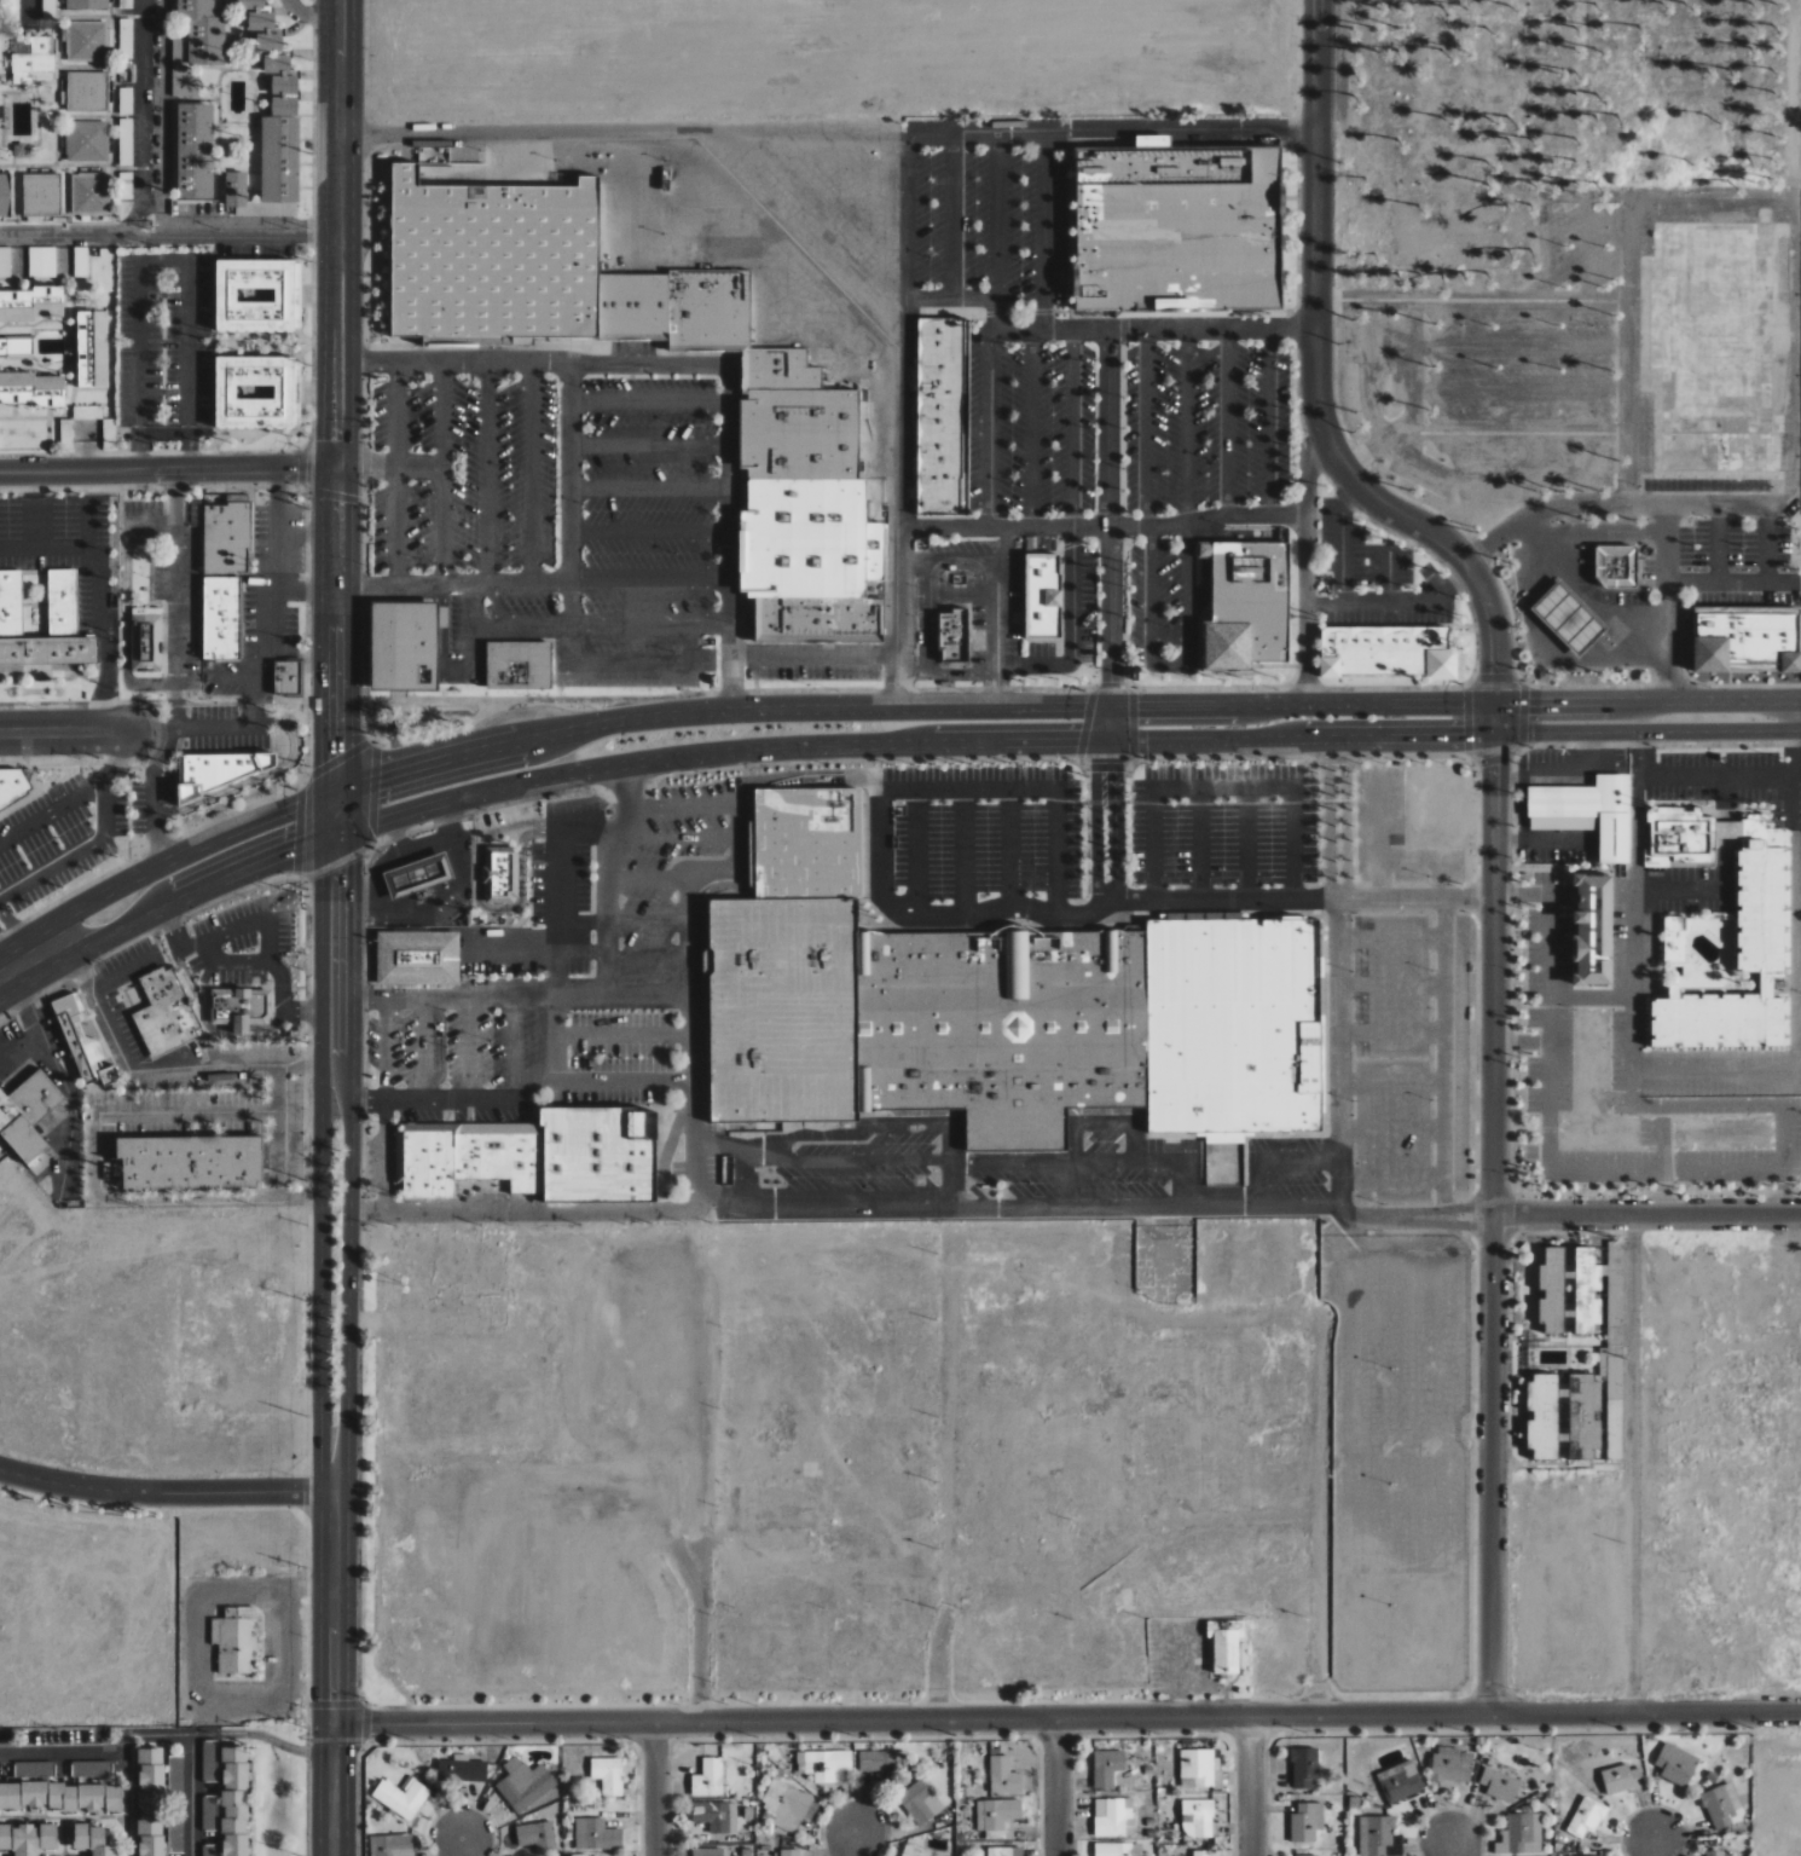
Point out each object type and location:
building: (126, 4)
building: (87, 5)
road: (25, 8)
building: (48, 13)
road: (311, 16)
building: (202, 31)
building: (265, 36)
building: (126, 37)
building: (86, 41)
building: (34, 62)
building: (184, 82)
building: (86, 91)
building: (282, 96)
road: (139, 116)
road: (1181, 131)
road: (621, 134)
road: (968, 134)
building: (87, 140)
building: (193, 150)
building: (268, 173)
building: (124, 185)
building: (89, 192)
building: (41, 193)
building: (4, 196)
building: (1175, 229)
road: (170, 232)
road: (341, 236)
building: (493, 250)
road: (163, 259)
building: (41, 261)
building: (81, 261)
building: (5, 262)
building: (256, 295)
building: (30, 303)
parking lot: (1007, 319)
road: (1212, 328)
road: (1076, 329)
building: (16, 346)
building: (91, 348)
road: (638, 362)
road: (1315, 376)
building: (30, 388)
building: (254, 392)
building: (88, 412)
building: (938, 416)
road: (163, 434)
parking lot: (1198, 455)
road: (167, 470)
road: (568, 472)
road: (441, 476)
road: (1612, 504)
parking lot: (560, 505)
road: (1108, 518)
road: (1206, 519)
road: (944, 527)
road: (349, 528)
building: (226, 536)
road: (1592, 538)
road: (15, 550)
building: (1615, 566)
road: (97, 569)
road: (1304, 569)
road: (585, 580)
road: (396, 586)
road: (296, 589)
building: (1041, 596)
road: (173, 600)
building: (11, 603)
road: (1669, 603)
building: (1244, 605)
road: (322, 615)
road: (995, 615)
road: (626, 625)
road: (498, 628)
building: (952, 635)
road: (1073, 635)
building: (145, 638)
road: (729, 644)
building: (401, 646)
building: (1382, 652)
road: (815, 654)
road: (253, 661)
building: (1789, 663)
building: (516, 665)
road: (1175, 665)
road: (351, 666)
traffic signals: (1495, 676)
building: (286, 678)
traffic signals: (1112, 687)
road: (1663, 705)
road: (1124, 706)
traffic signals: (1139, 706)
road: (1301, 706)
road: (908, 707)
road: (1098, 707)
road: (1495, 707)
traffic signals: (1527, 707)
road: (633, 717)
road: (1494, 719)
road: (1110, 725)
road: (63, 732)
road: (1662, 732)
road: (1494, 733)
traffic signals: (1465, 735)
road: (1302, 739)
road: (442, 741)
road: (1123, 742)
road: (1093, 744)
traffic signals: (1078, 745)
road: (1334, 748)
road: (724, 753)
road: (115, 754)
traffic signals: (380, 756)
road: (457, 757)
traffic signals: (322, 763)
traffic signals: (1494, 763)
traffic signals: (1114, 773)
road: (1715, 773)
traffic signals: (378, 780)
building: (16, 787)
road: (352, 787)
road: (338, 792)
road: (74, 798)
road: (1096, 811)
road: (1114, 813)
building: (1586, 813)
road: (879, 816)
road: (322, 822)
road: (365, 826)
road: (550, 828)
road: (325, 836)
building: (803, 838)
traffic signals: (300, 845)
road: (352, 846)
parking lot: (548, 851)
road: (51, 861)
road: (170, 861)
traffic signals: (351, 863)
building: (498, 874)
road: (558, 874)
building: (417, 877)
road: (1696, 887)
road: (1334, 890)
road: (1336, 894)
road: (179, 895)
road: (1106, 897)
road: (1299, 897)
road: (505, 909)
building: (1762, 920)
road: (453, 930)
building: (1591, 931)
road: (174, 937)
building: (1673, 939)
road: (10, 949)
road: (40, 954)
building: (416, 956)
road: (348, 958)
road: (224, 961)
road: (10, 973)
road: (123, 975)
parking lot: (574, 981)
road: (560, 985)
road: (1589, 994)
building: (239, 1006)
building: (164, 1013)
road: (694, 1016)
building: (1012, 1018)
road: (322, 1034)
building: (81, 1039)
road: (1521, 1041)
road: (1332, 1051)
road: (1444, 1054)
road: (207, 1066)
road: (1713, 1074)
road: (1631, 1086)
road: (128, 1089)
road: (1709, 1102)
building: (30, 1116)
road: (349, 1118)
road: (1548, 1118)
road: (278, 1131)
road: (1661, 1134)
building: (1224, 1138)
road: (696, 1140)
building: (598, 1152)
building: (497, 1155)
road: (382, 1156)
road: (1786, 1161)
building: (189, 1162)
building: (427, 1163)
road: (132, 1199)
road: (919, 1207)
road: (1646, 1214)
road: (1493, 1237)
building: (1587, 1288)
building: (1551, 1290)
road: (346, 1337)
road: (320, 1340)
building: (1576, 1409)
road: (1633, 1462)
road: (950, 1463)
road: (164, 1492)
building: (233, 1637)
road: (696, 1640)
building: (1226, 1647)
road: (331, 1673)
road: (1066, 1717)
road: (276, 1742)
road: (98, 1750)
building: (209, 1760)
building: (1452, 1764)
building: (1677, 1764)
building: (826, 1765)
building: (1106, 1767)
building: (1199, 1767)
building: (1304, 1767)
building: (34, 1768)
building: (91, 1768)
building: (462, 1769)
building: (608, 1774)
building: (1003, 1775)
building: (175, 1776)
building: (708, 1777)
road: (191, 1779)
building: (1621, 1779)
building: (1400, 1781)
building: (525, 1783)
building: (1500, 1785)
road: (1249, 1786)
road: (654, 1787)
road: (1055, 1787)
building: (60, 1797)
building: (400, 1797)
building: (149, 1800)
building: (233, 1800)
building: (920, 1802)
building: (786, 1804)
building: (1721, 1805)
building: (209, 1811)
building: (997, 1814)
building: (716, 1815)
building: (1113, 1817)
building: (1586, 1817)
building: (1199, 1819)
building: (1307, 1822)
building: (175, 1831)
building: (596, 1834)
building: (1522, 1834)
building: (537, 1835)
building: (1379, 1837)
building: (28, 1838)
building: (91, 1839)
road: (1655, 1840)
road: (855, 1841)
road: (1447, 1843)
building: (390, 1845)
road: (461, 1845)
building: (1113, 1849)
building: (209, 1850)
building: (707, 1851)
building: (917, 1851)
building: (1004, 1851)
building: (791, 1852)
building: (1203, 1852)
building: (1718, 1854)
building: (1307, 1855)

